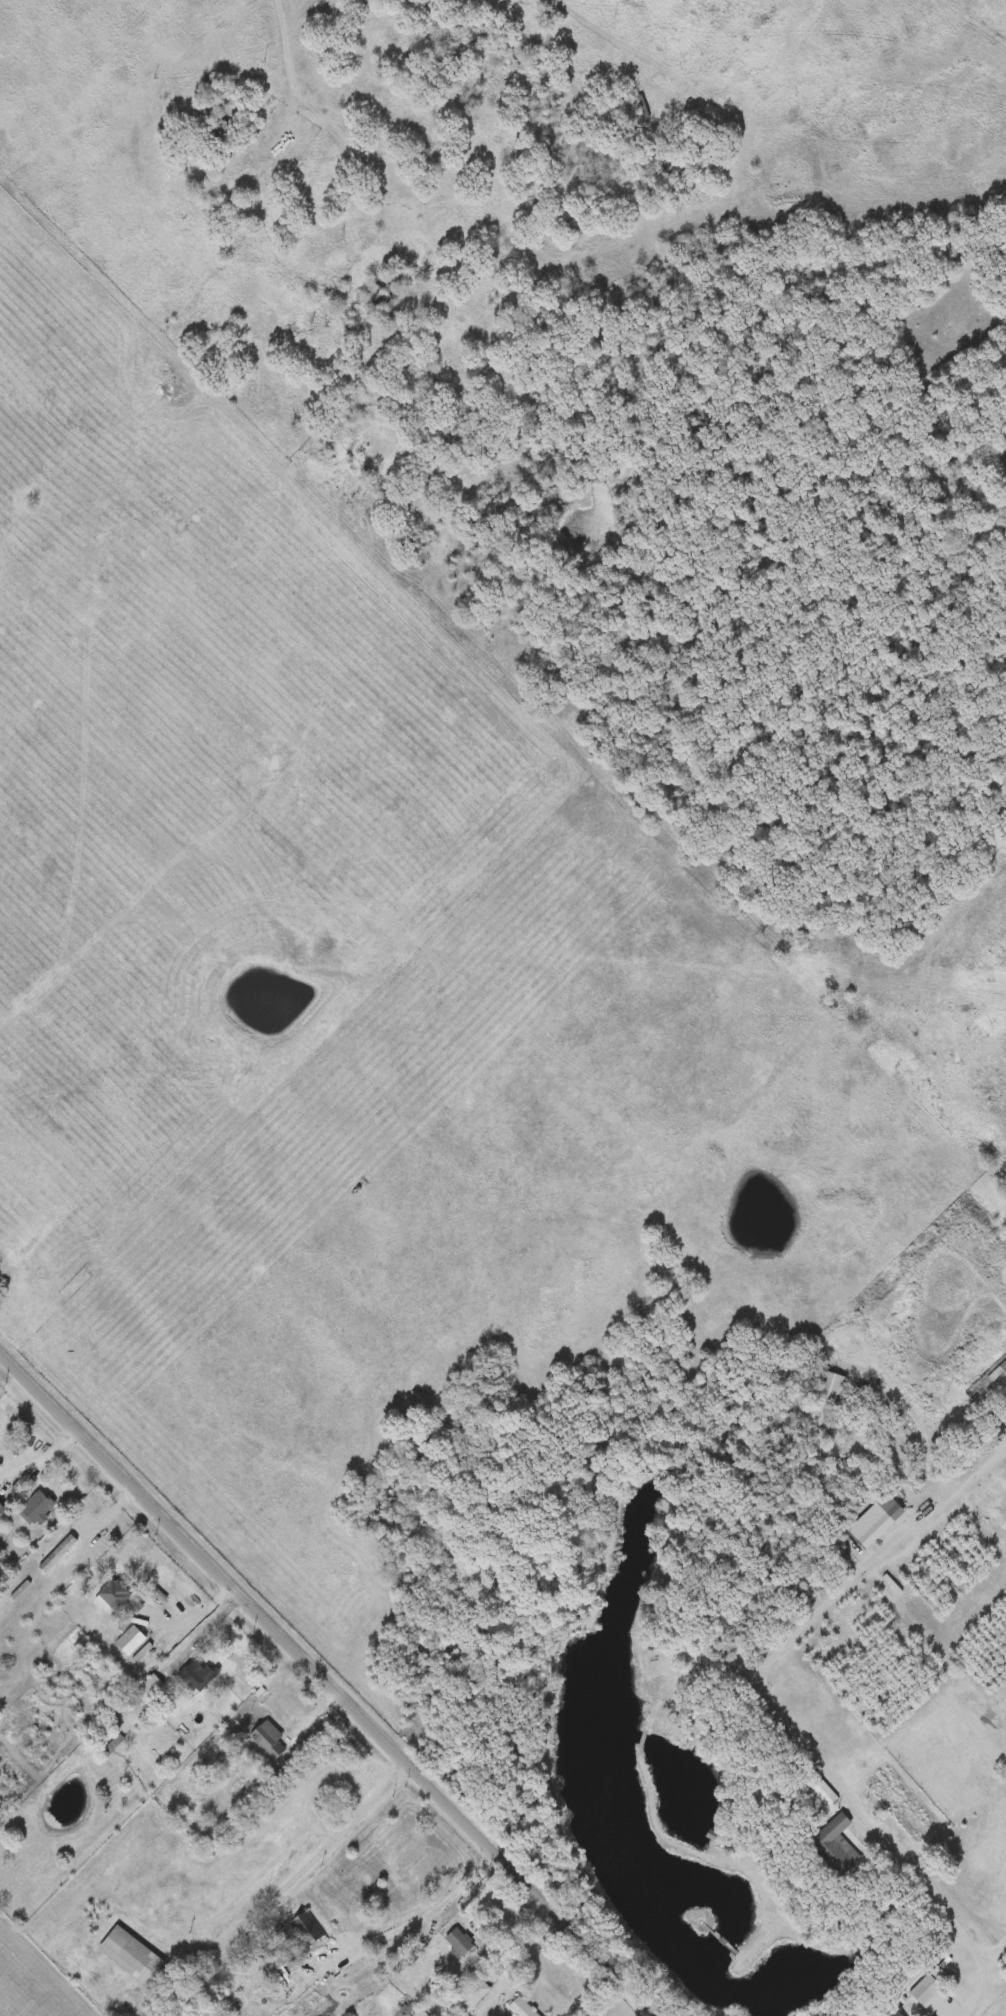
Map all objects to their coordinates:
road: (292, 78)
building: (217, 128)
building: (828, 1399)
road: (35, 1458)
building: (2, 1508)
building: (39, 1508)
building: (873, 1525)
building: (112, 1596)
road: (198, 1609)
road: (208, 1629)
building: (131, 1640)
building: (196, 1675)
road: (329, 1684)
building: (147, 1691)
road: (318, 1710)
road: (780, 1712)
building: (267, 1740)
building: (819, 1786)
building: (836, 1846)
road: (305, 1871)
road: (435, 1911)
building: (305, 1931)
building: (458, 1942)
road: (522, 1942)
building: (131, 1955)
building: (272, 1964)
building: (926, 1989)
building: (472, 1994)
building: (521, 2008)
building: (895, 2013)

